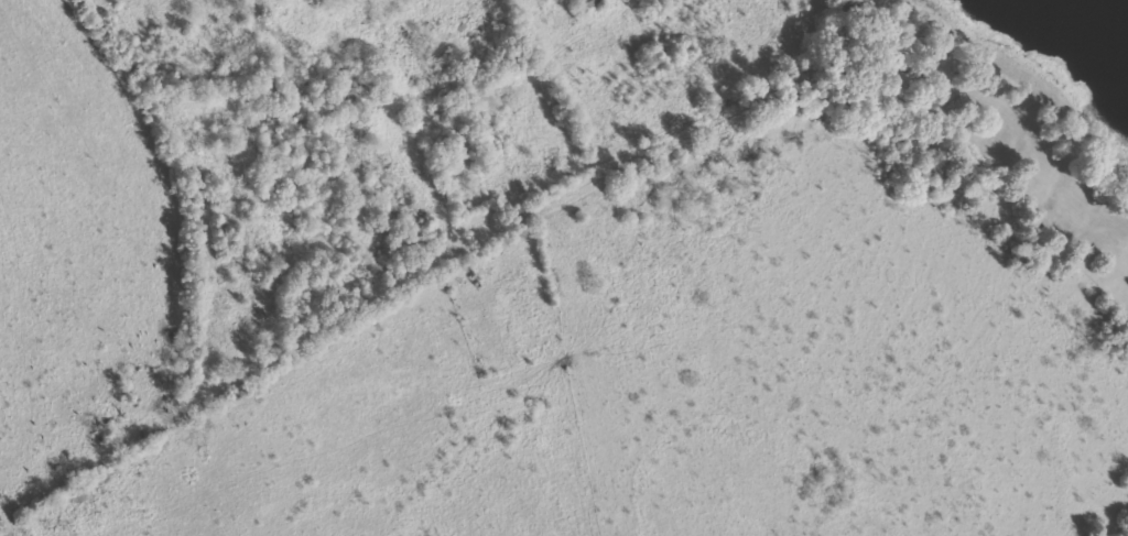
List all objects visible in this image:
road: (253, 354)

